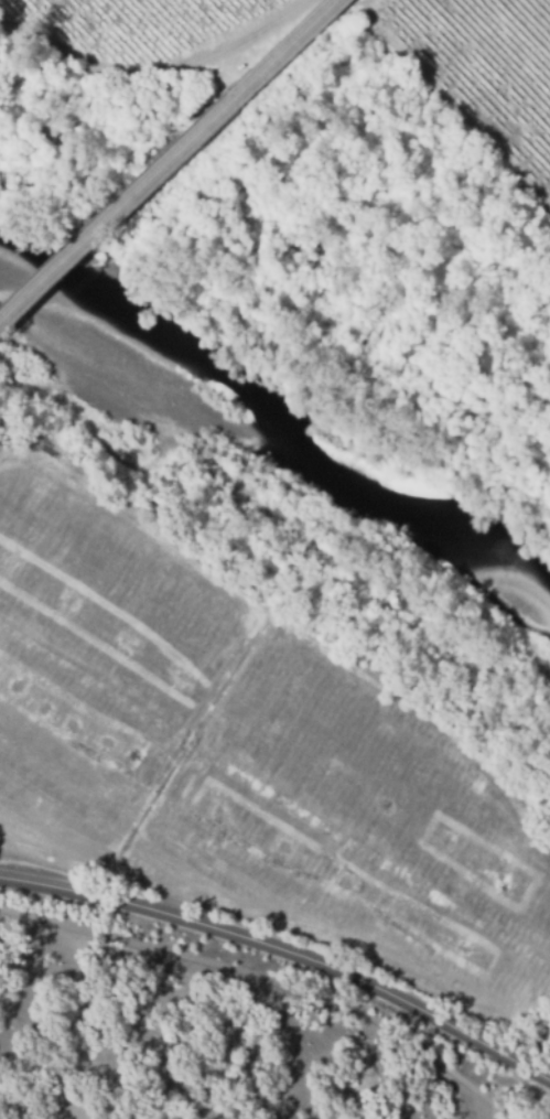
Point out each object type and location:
road: (171, 162)
building: (44, 391)
river: (288, 438)
road: (282, 958)

